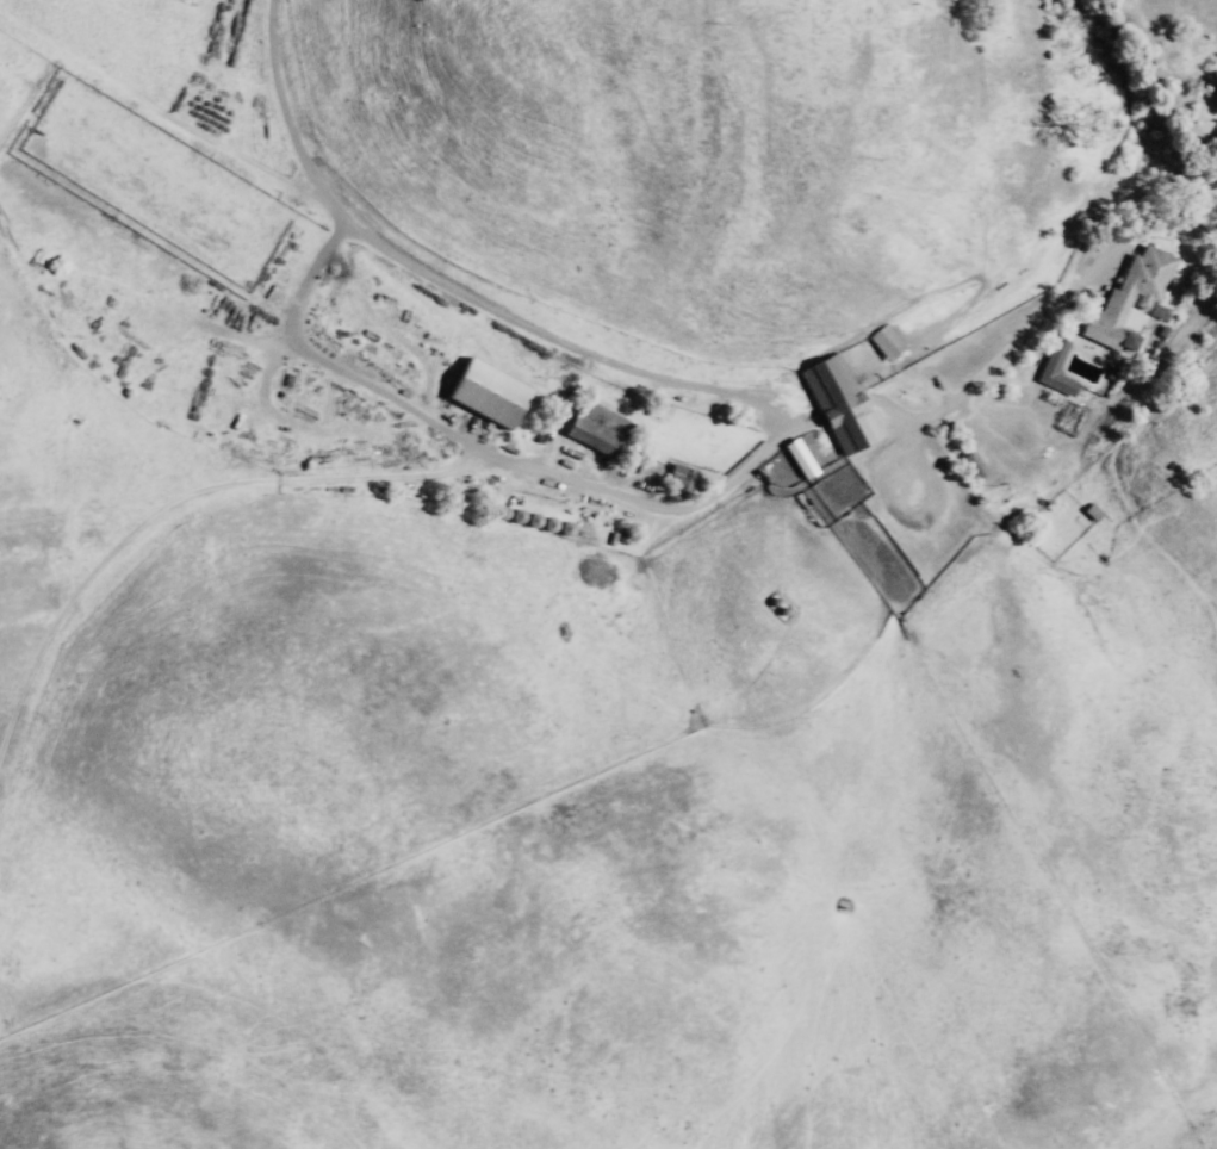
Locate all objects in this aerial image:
building: (1135, 286)
building: (886, 346)
building: (1058, 371)
road: (344, 375)
building: (486, 390)
road: (722, 400)
building: (840, 404)
building: (602, 430)
road: (337, 484)

